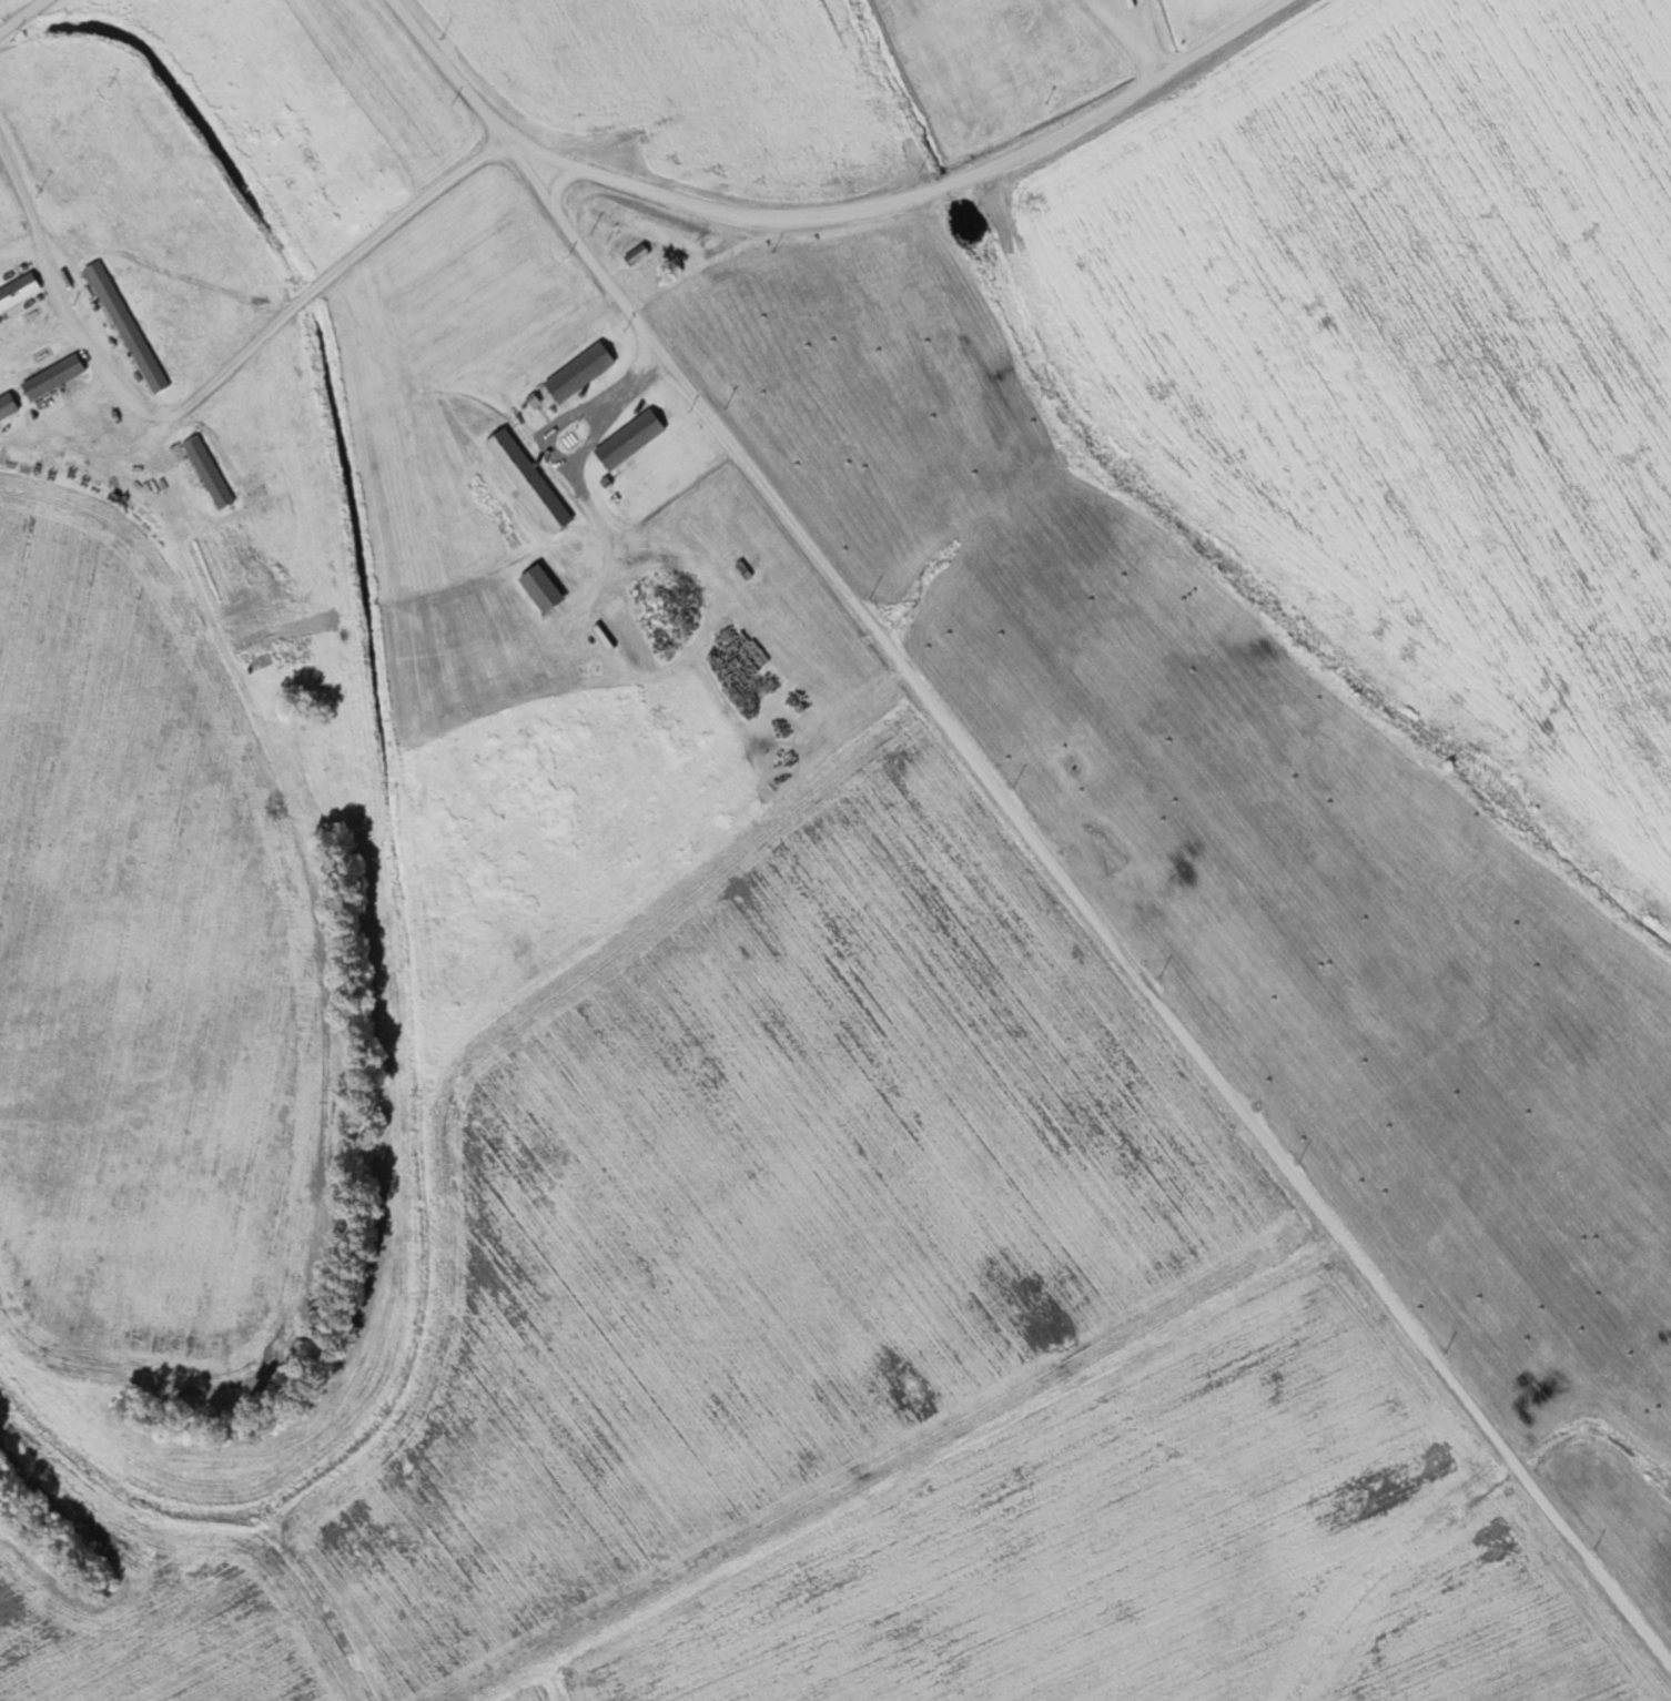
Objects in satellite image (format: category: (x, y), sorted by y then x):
road: (19, 14)
road: (811, 219)
building: (635, 254)
building: (18, 291)
building: (125, 326)
building: (578, 372)
road: (214, 374)
building: (51, 377)
building: (7, 405)
building: (628, 439)
building: (206, 472)
building: (527, 480)
building: (743, 570)
building: (539, 588)
road: (1108, 945)

